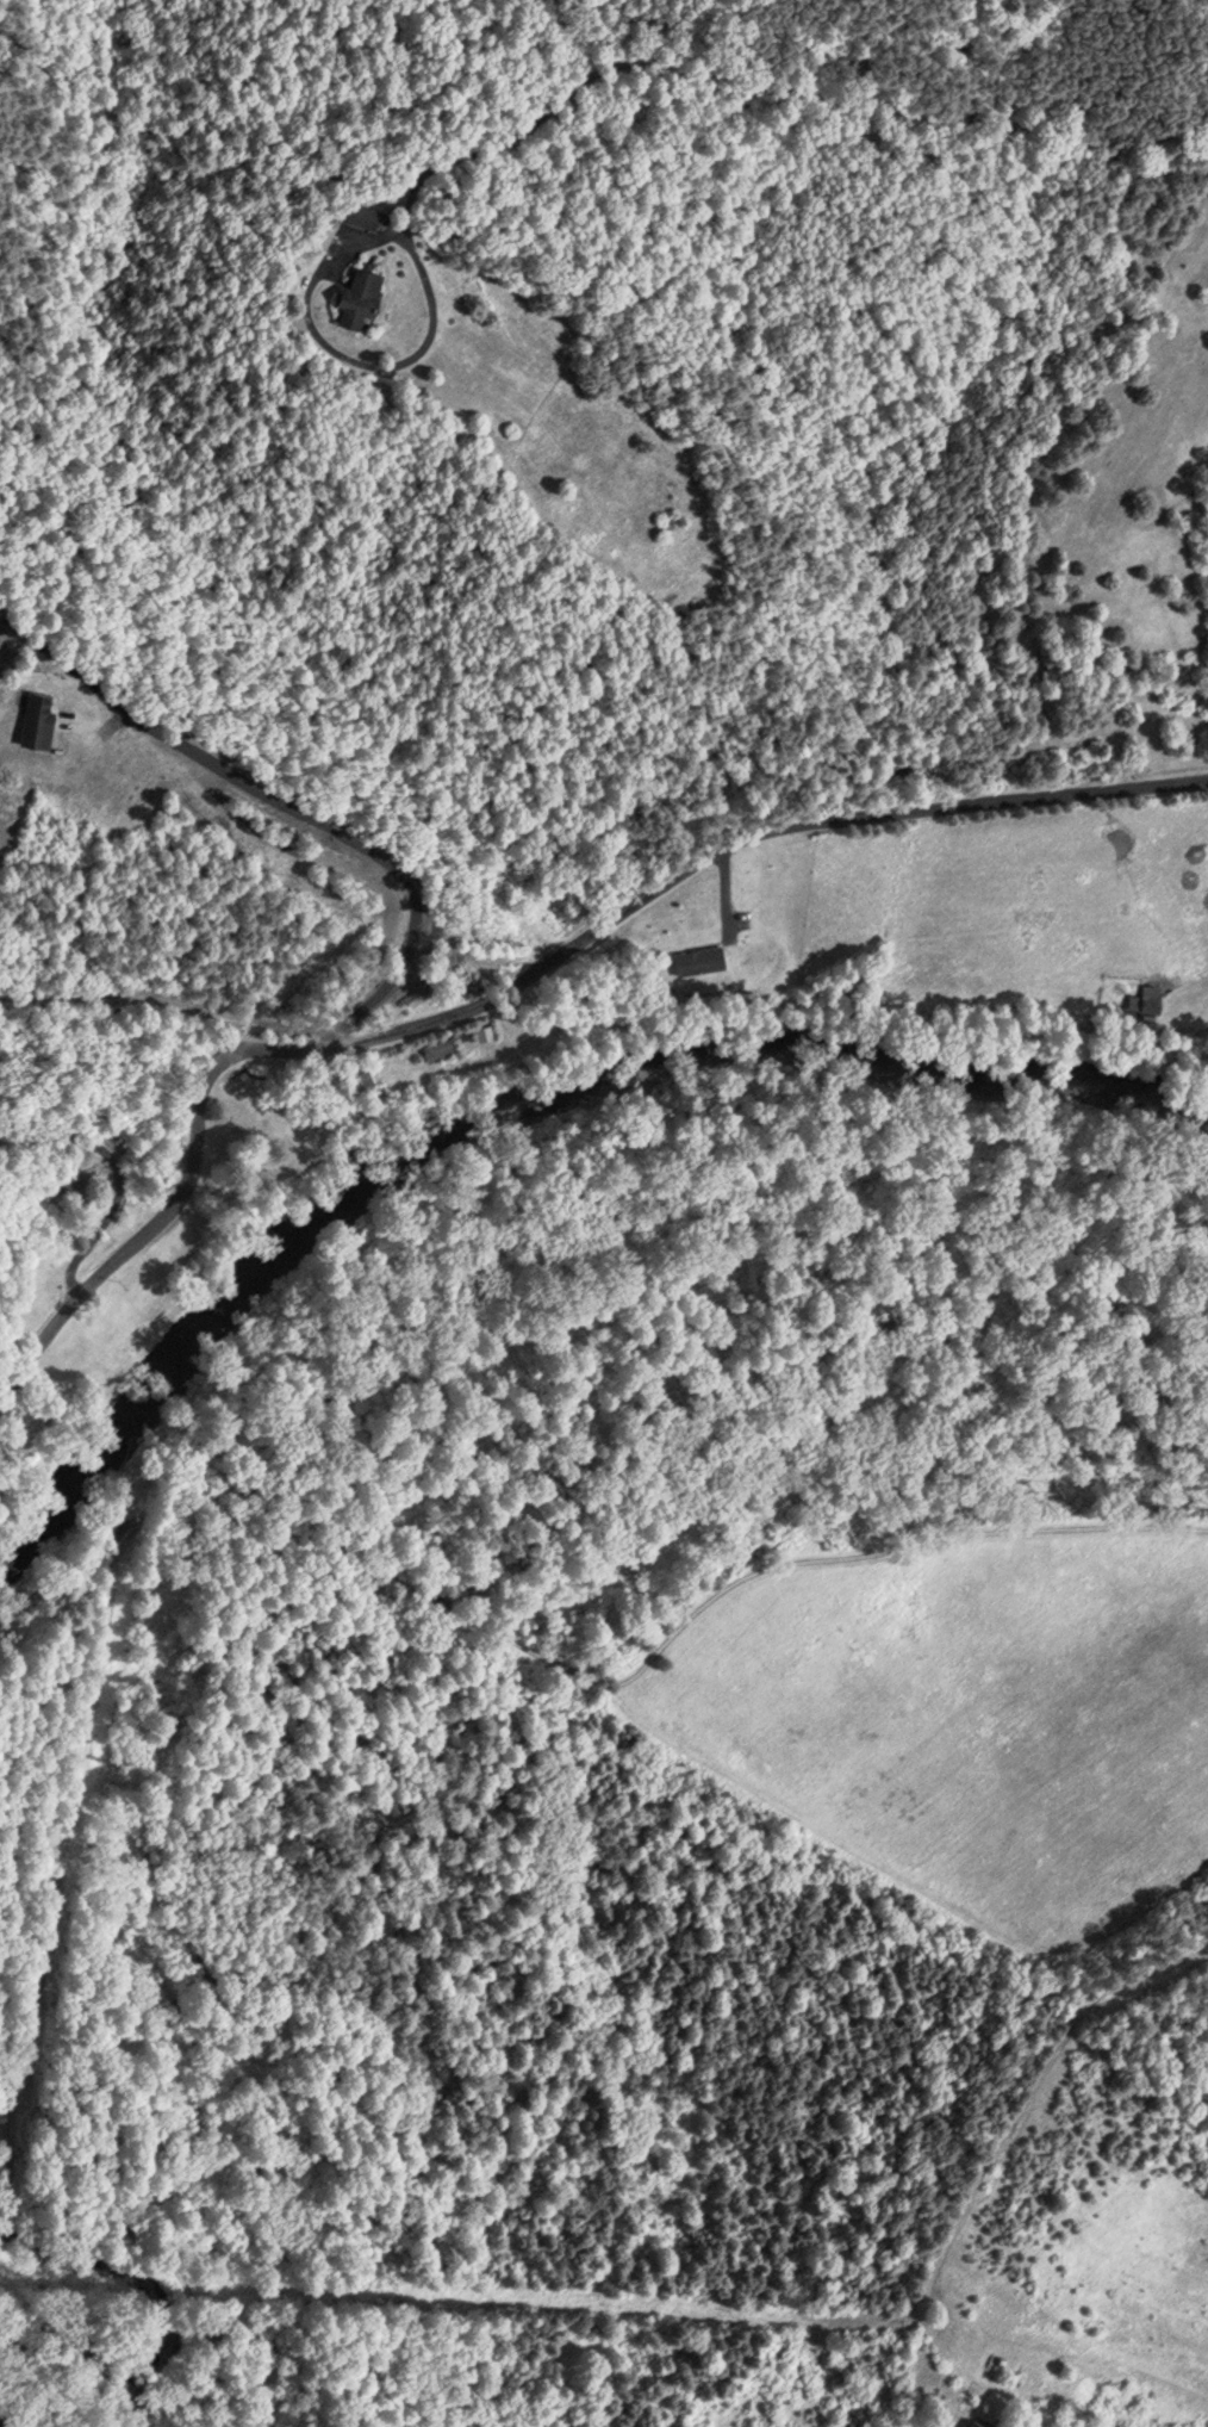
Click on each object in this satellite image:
road: (751, 85)
building: (365, 213)
building: (323, 230)
building: (362, 296)
building: (38, 715)
road: (248, 825)
building: (698, 957)
road: (524, 985)
building: (1145, 1000)
road: (173, 1011)
building: (474, 1032)
building: (437, 1048)
building: (360, 1079)
river: (523, 1119)
road: (118, 1174)
river: (19, 2166)
building: (980, 2421)

